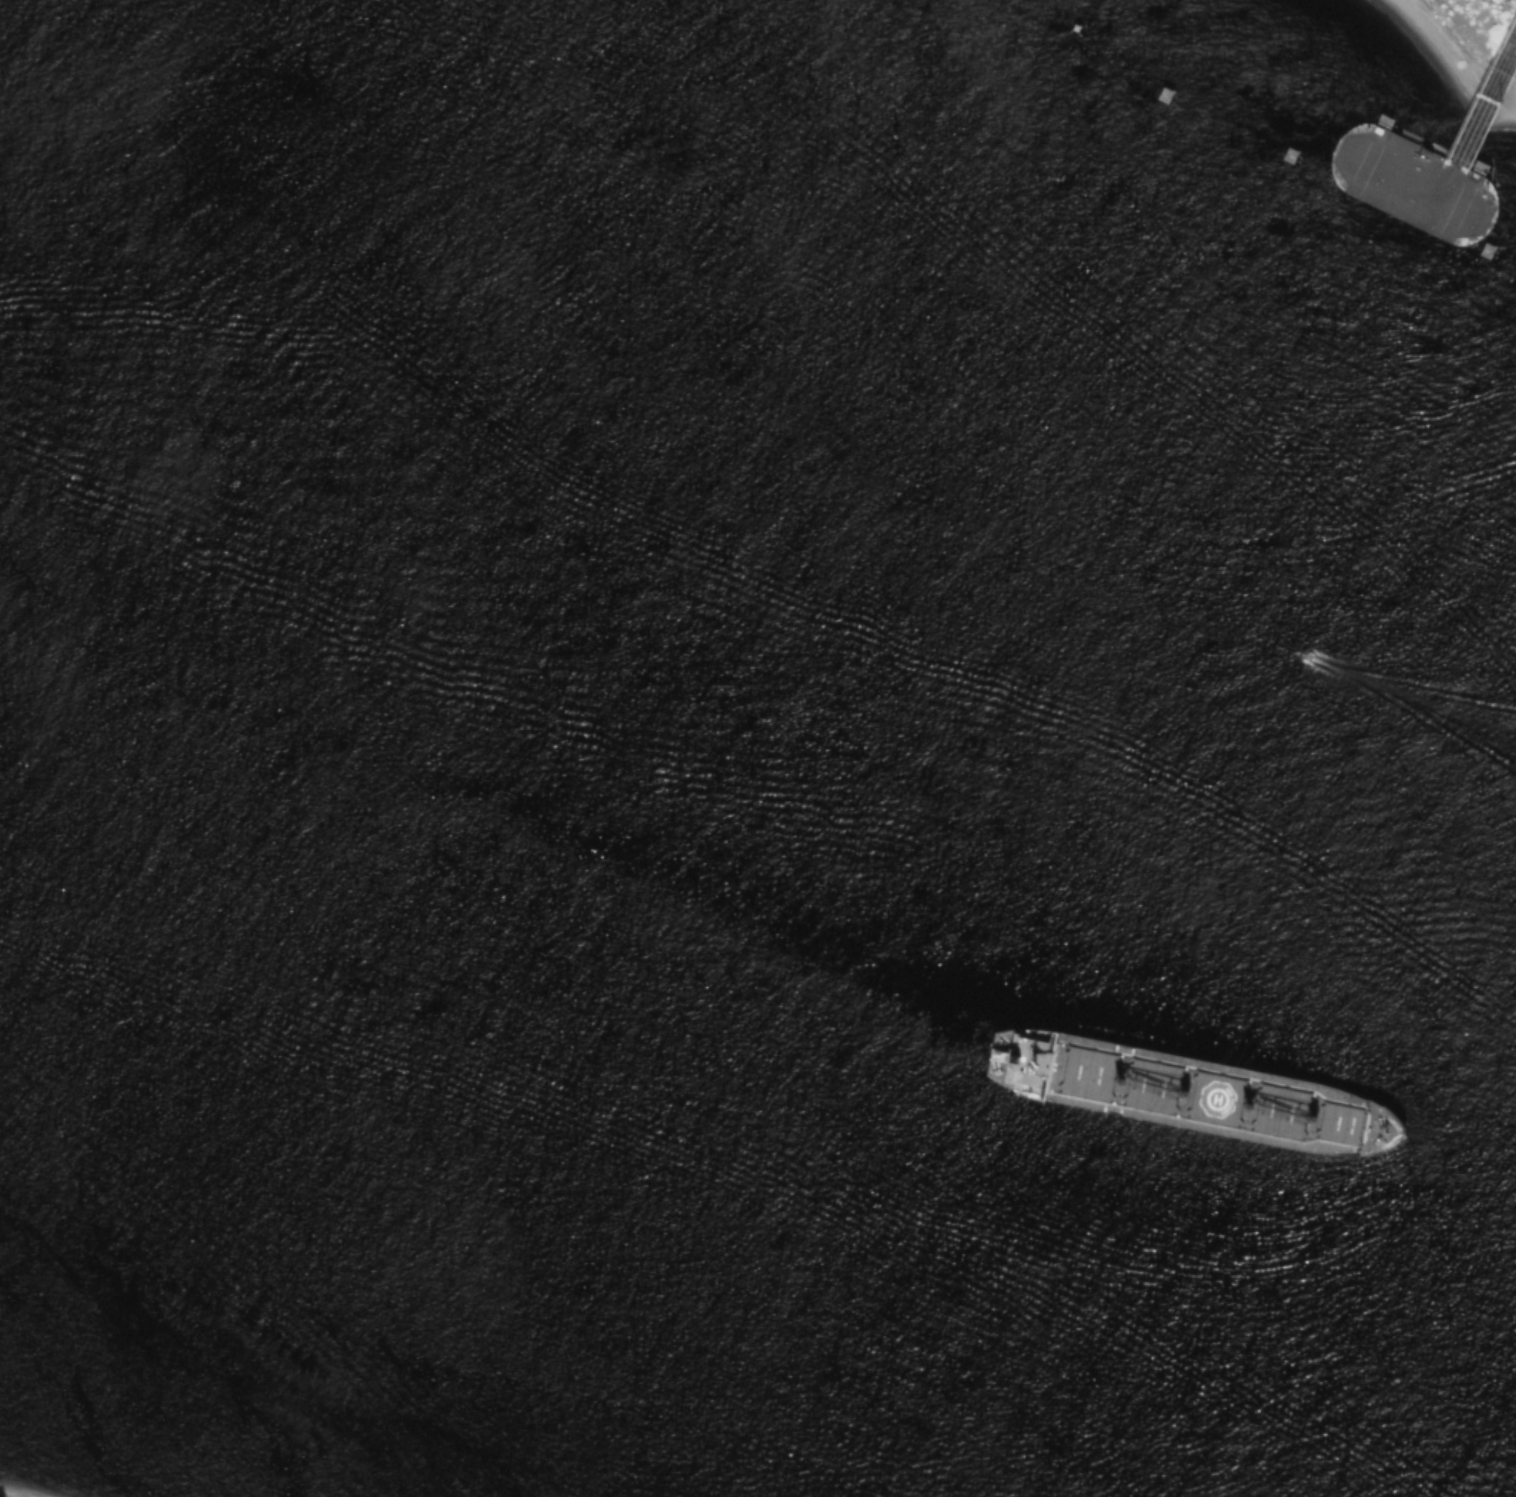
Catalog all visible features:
pier: (1429, 168)
river: (758, 1023)

